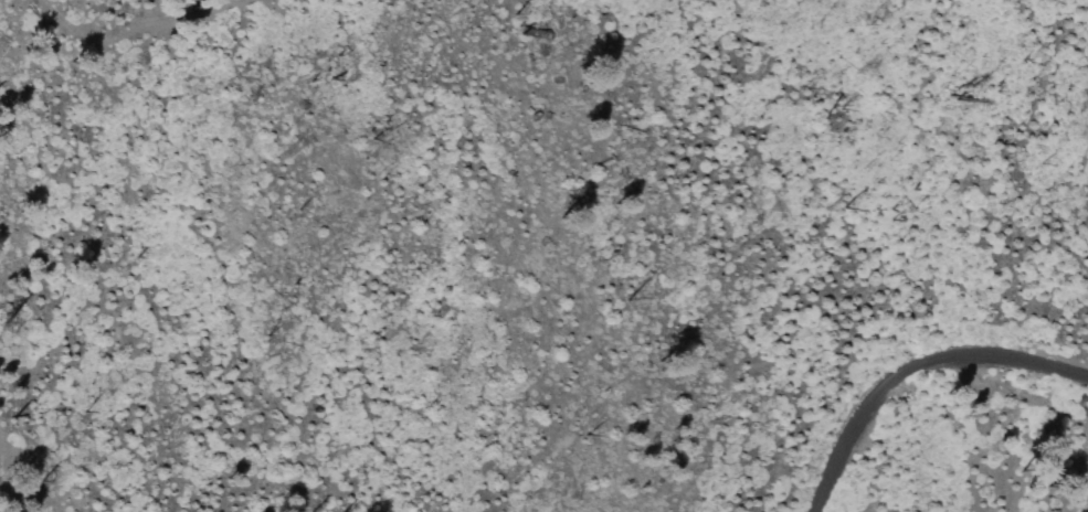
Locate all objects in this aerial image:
road: (911, 365)

